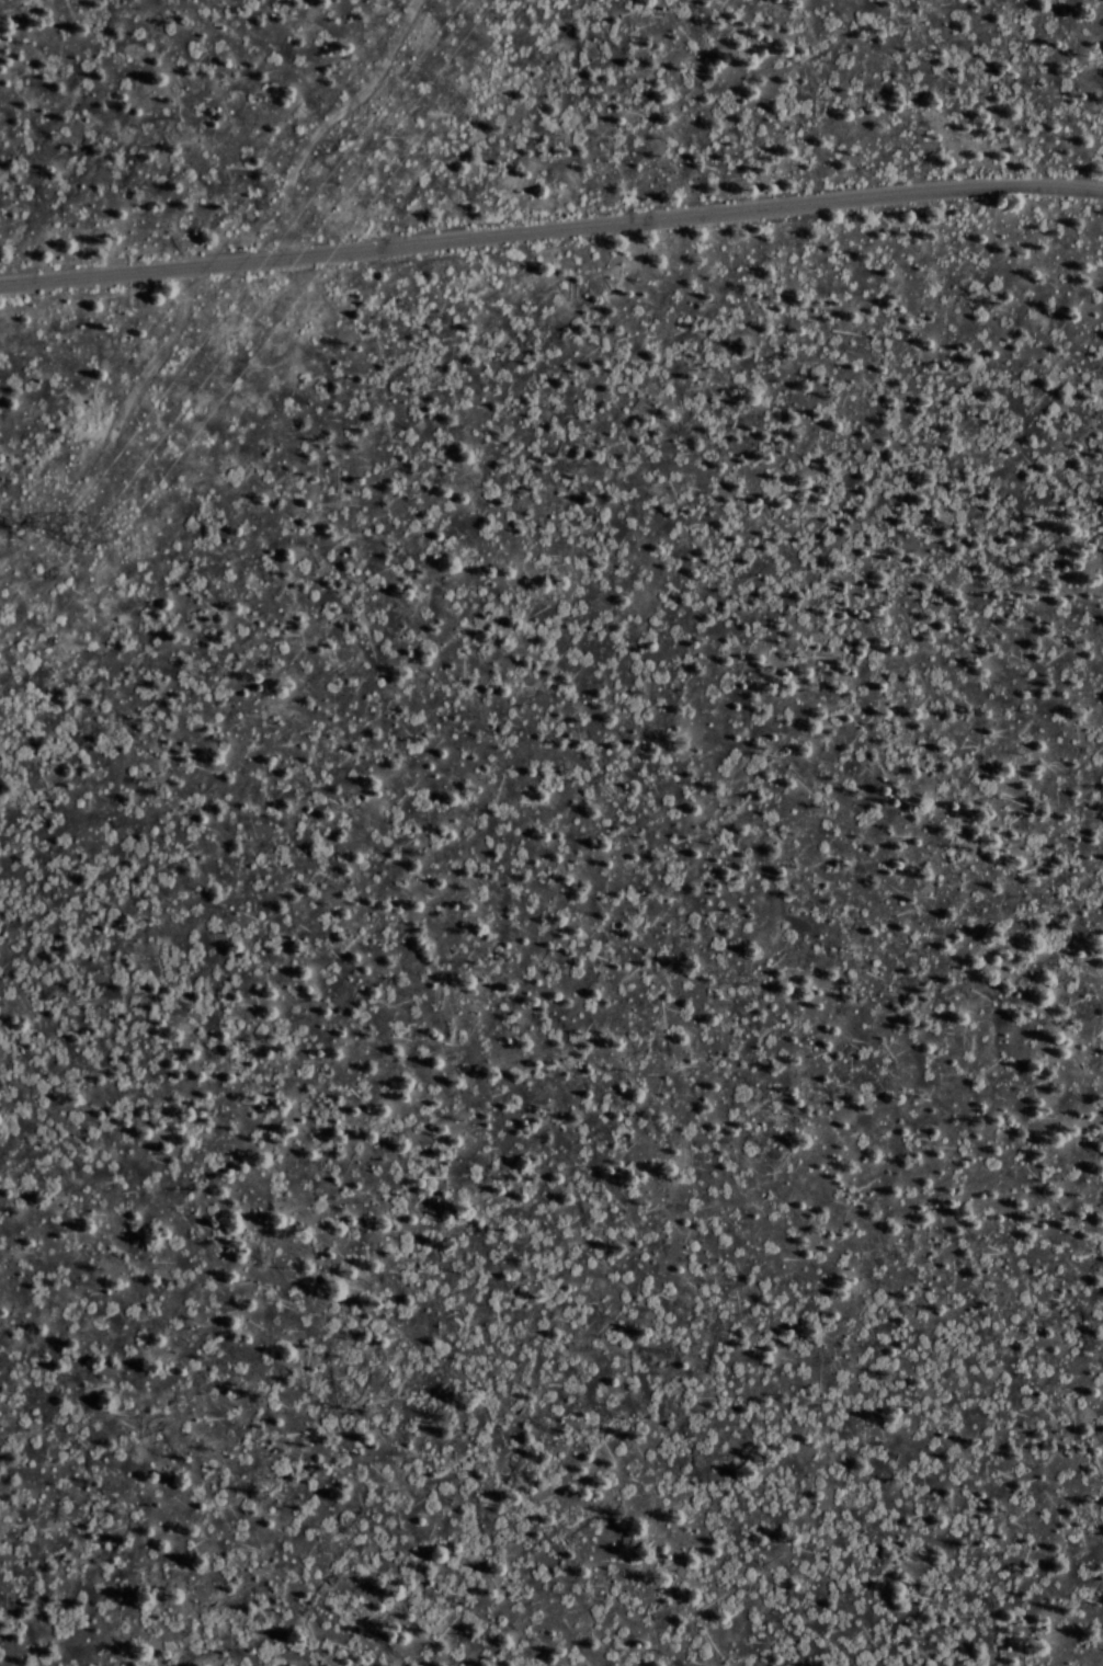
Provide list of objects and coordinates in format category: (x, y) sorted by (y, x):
road: (550, 238)
power tower: (92, 521)

